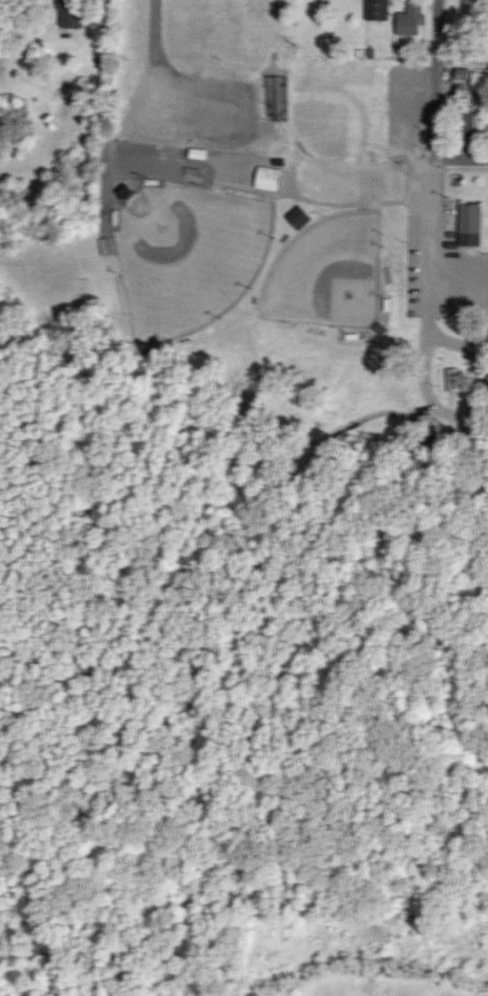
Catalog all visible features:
building: (379, 10)
building: (74, 13)
building: (411, 19)
road: (461, 60)
road: (435, 77)
building: (481, 89)
road: (163, 103)
building: (469, 121)
road: (462, 156)
building: (269, 179)
building: (300, 218)
building: (472, 225)
park: (187, 255)
park: (329, 273)
road: (427, 358)

